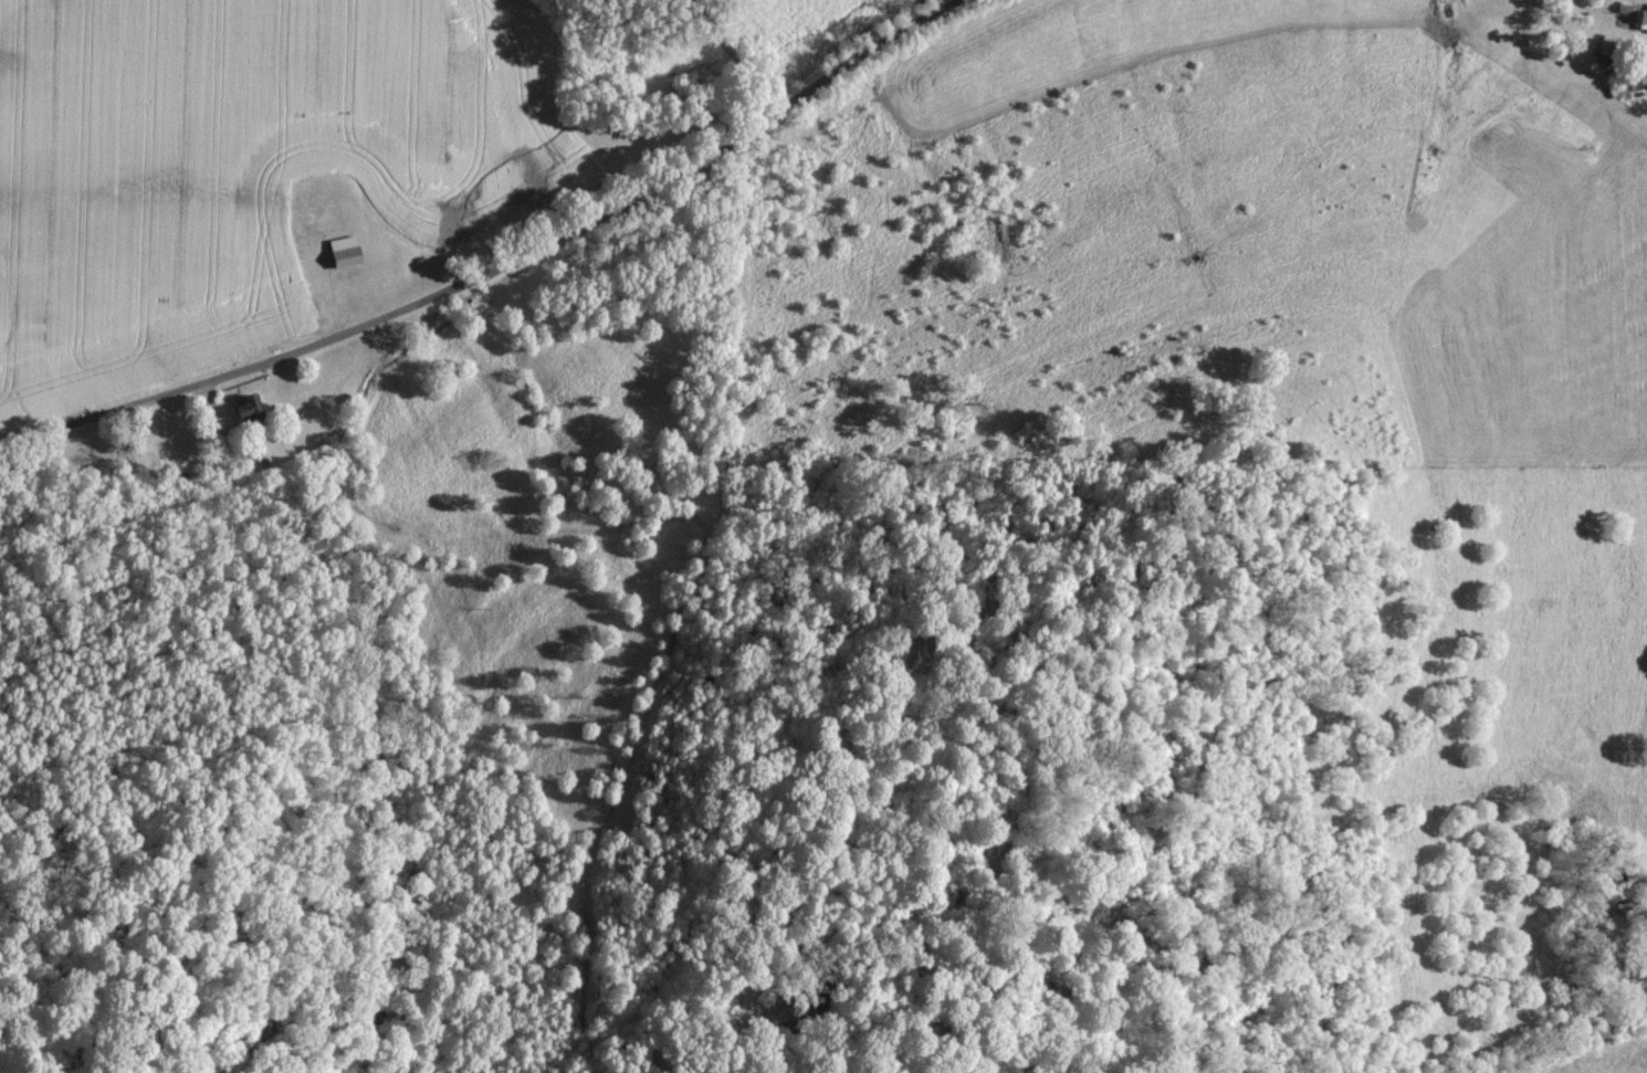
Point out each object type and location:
building: (1640, 20)
building: (1604, 46)
building: (343, 251)
road: (497, 265)
building: (248, 411)

